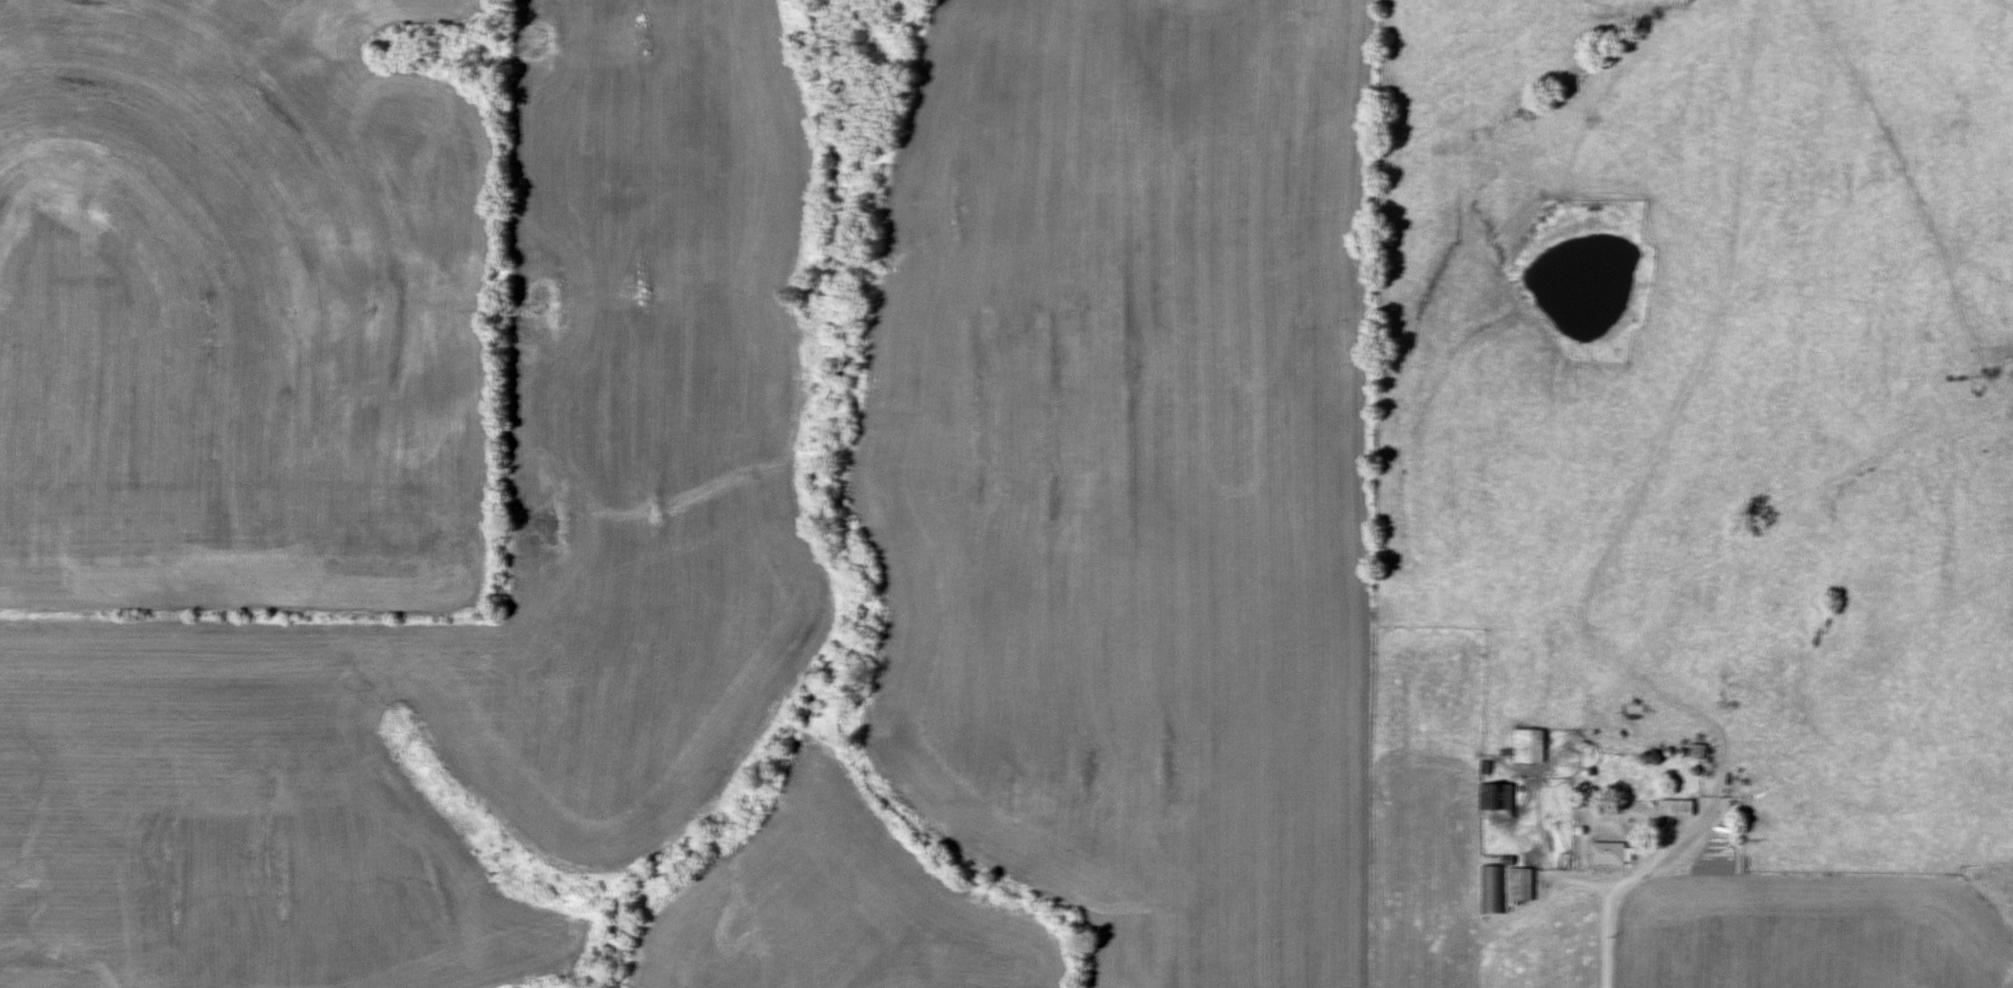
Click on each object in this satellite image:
building: (1532, 744)
building: (1700, 749)
building: (1499, 800)
building: (1680, 806)
building: (1612, 853)
building: (1523, 884)
building: (1495, 888)
road: (1607, 933)

